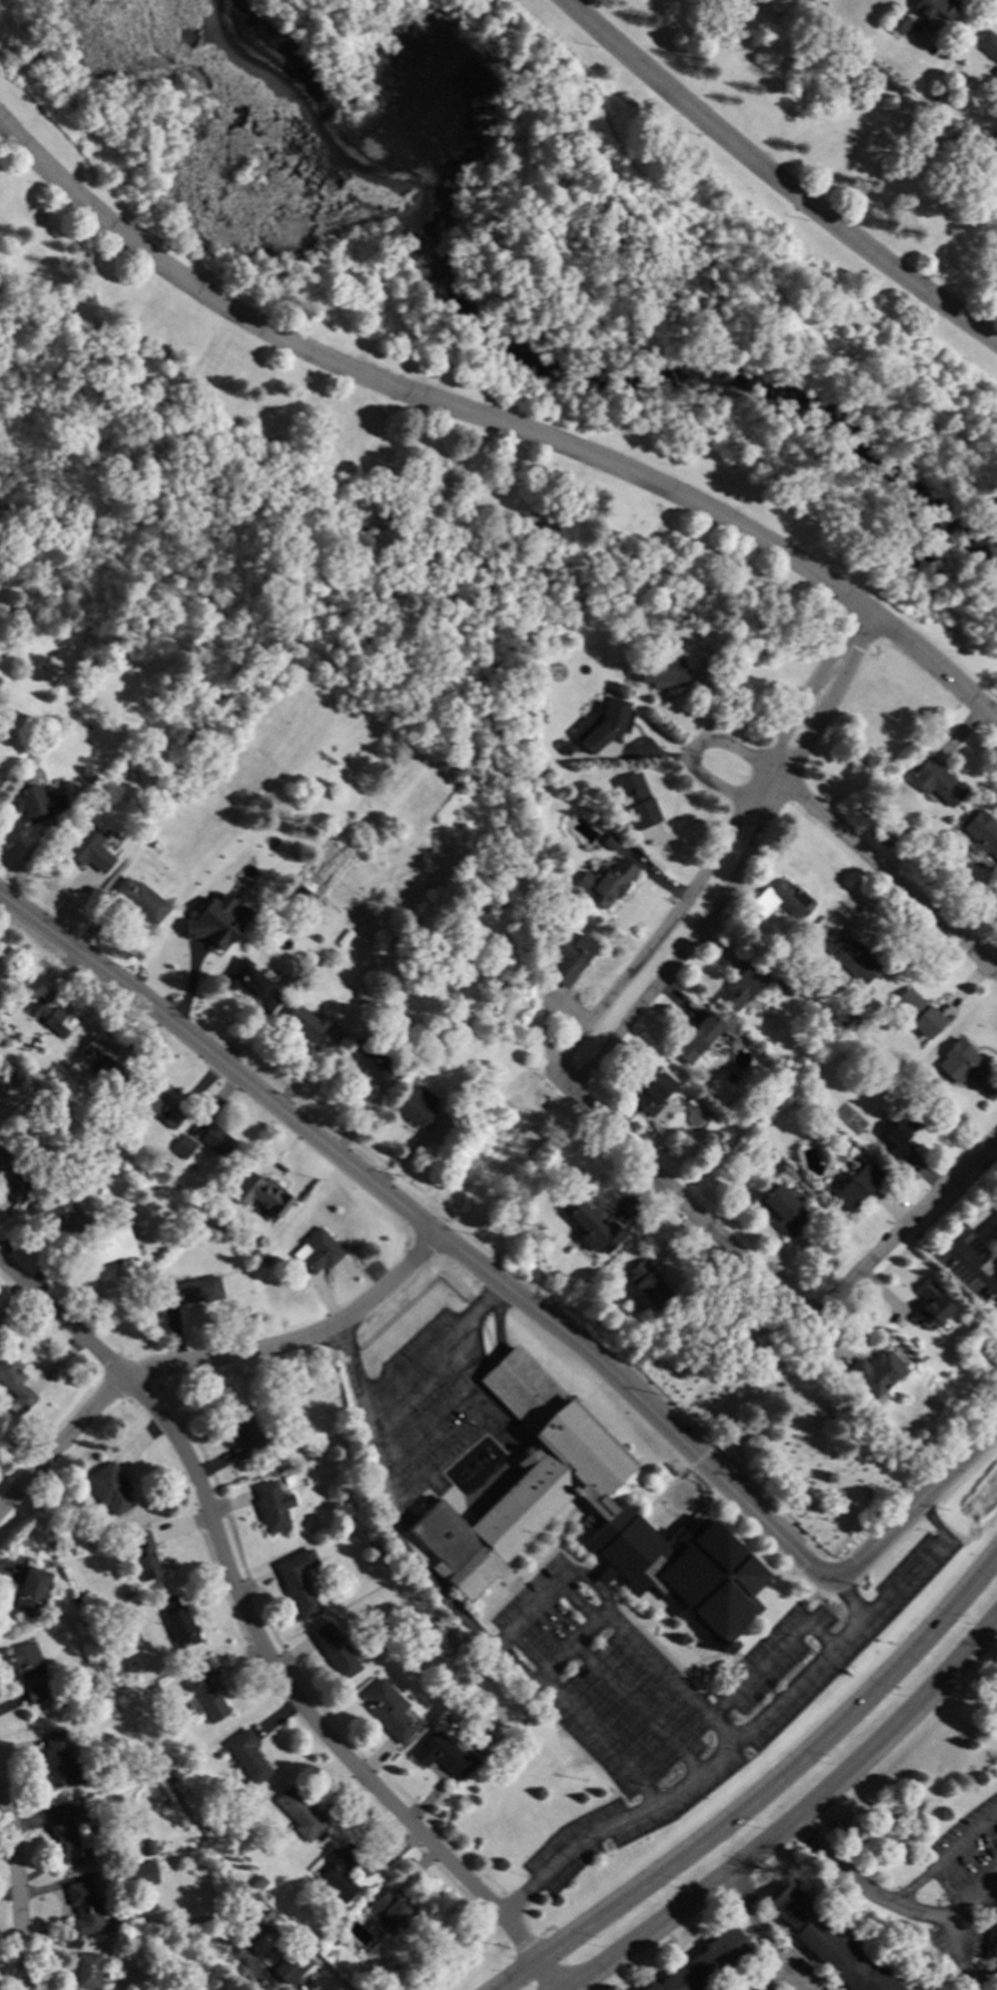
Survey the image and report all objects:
building: (935, 8)
building: (900, 22)
building: (988, 42)
building: (931, 95)
park: (833, 129)
road: (773, 180)
park: (537, 264)
river: (554, 347)
road: (499, 422)
park: (343, 484)
building: (17, 611)
building: (43, 628)
building: (662, 672)
building: (170, 681)
building: (604, 723)
road: (691, 749)
road: (734, 753)
building: (936, 782)
road: (715, 786)
building: (637, 801)
building: (34, 802)
building: (981, 833)
building: (610, 842)
building: (88, 850)
road: (880, 874)
building: (606, 882)
building: (140, 899)
building: (781, 899)
building: (426, 906)
building: (278, 917)
building: (216, 923)
building: (811, 944)
building: (850, 956)
building: (569, 958)
building: (250, 985)
building: (743, 986)
building: (917, 1013)
building: (52, 1017)
building: (304, 1022)
building: (8, 1026)
building: (696, 1038)
building: (369, 1056)
building: (102, 1059)
building: (968, 1068)
building: (16, 1076)
road: (563, 1082)
building: (652, 1093)
building: (791, 1099)
building: (156, 1103)
building: (415, 1106)
building: (899, 1135)
building: (216, 1140)
building: (183, 1146)
building: (164, 1165)
building: (852, 1165)
building: (13, 1179)
building: (856, 1186)
building: (263, 1195)
road: (683, 1202)
building: (781, 1209)
building: (59, 1213)
road: (427, 1224)
building: (591, 1225)
road: (903, 1226)
building: (994, 1233)
building: (113, 1251)
building: (317, 1251)
building: (264, 1261)
road: (972, 1268)
building: (647, 1282)
building: (191, 1291)
building: (931, 1306)
building: (784, 1344)
road: (434, 1352)
road: (206, 1358)
building: (876, 1372)
building: (15, 1384)
parking lot: (424, 1404)
road: (445, 1412)
building: (242, 1433)
road: (453, 1453)
building: (109, 1487)
building: (533, 1496)
road: (913, 1504)
road: (383, 1505)
building: (271, 1506)
building: (144, 1555)
building: (299, 1583)
building: (31, 1592)
road: (846, 1606)
building: (179, 1623)
road: (518, 1623)
road: (256, 1638)
road: (574, 1643)
building: (335, 1650)
building: (30, 1671)
road: (755, 1672)
building: (205, 1696)
parking lot: (662, 1698)
building: (389, 1710)
road: (583, 1726)
road: (755, 1730)
building: (247, 1755)
building: (443, 1755)
building: (62, 1761)
building: (173, 1774)
road: (768, 1789)
building: (300, 1812)
road: (798, 1821)
building: (74, 1838)
building: (149, 1847)
road: (946, 1862)
building: (340, 1872)
building: (134, 1873)
road: (15, 1878)
building: (258, 1882)
road: (989, 1888)
road: (972, 1903)
building: (84, 1909)
road: (905, 1910)
building: (391, 1912)
road: (751, 1924)
building: (326, 1925)
building: (826, 1942)
building: (994, 1948)
building: (704, 1963)
building: (291, 1965)
building: (396, 1967)
building: (88, 1970)
road: (778, 1975)

